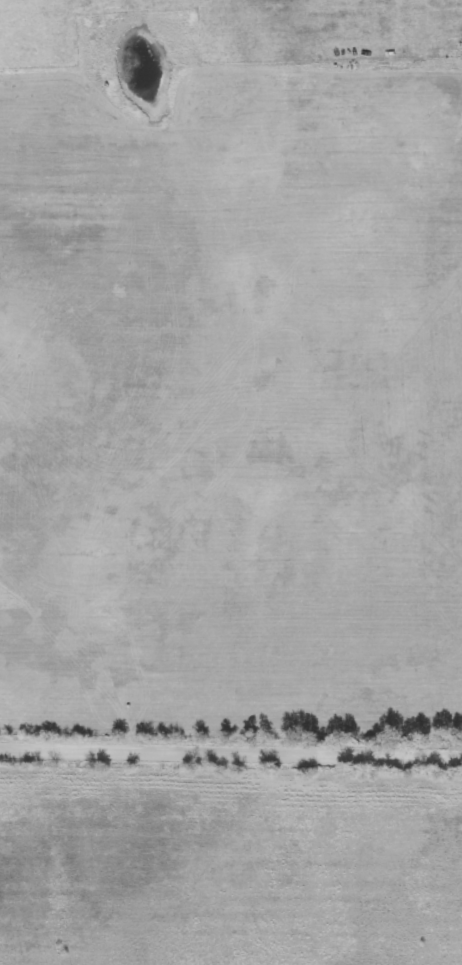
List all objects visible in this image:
road: (230, 753)

